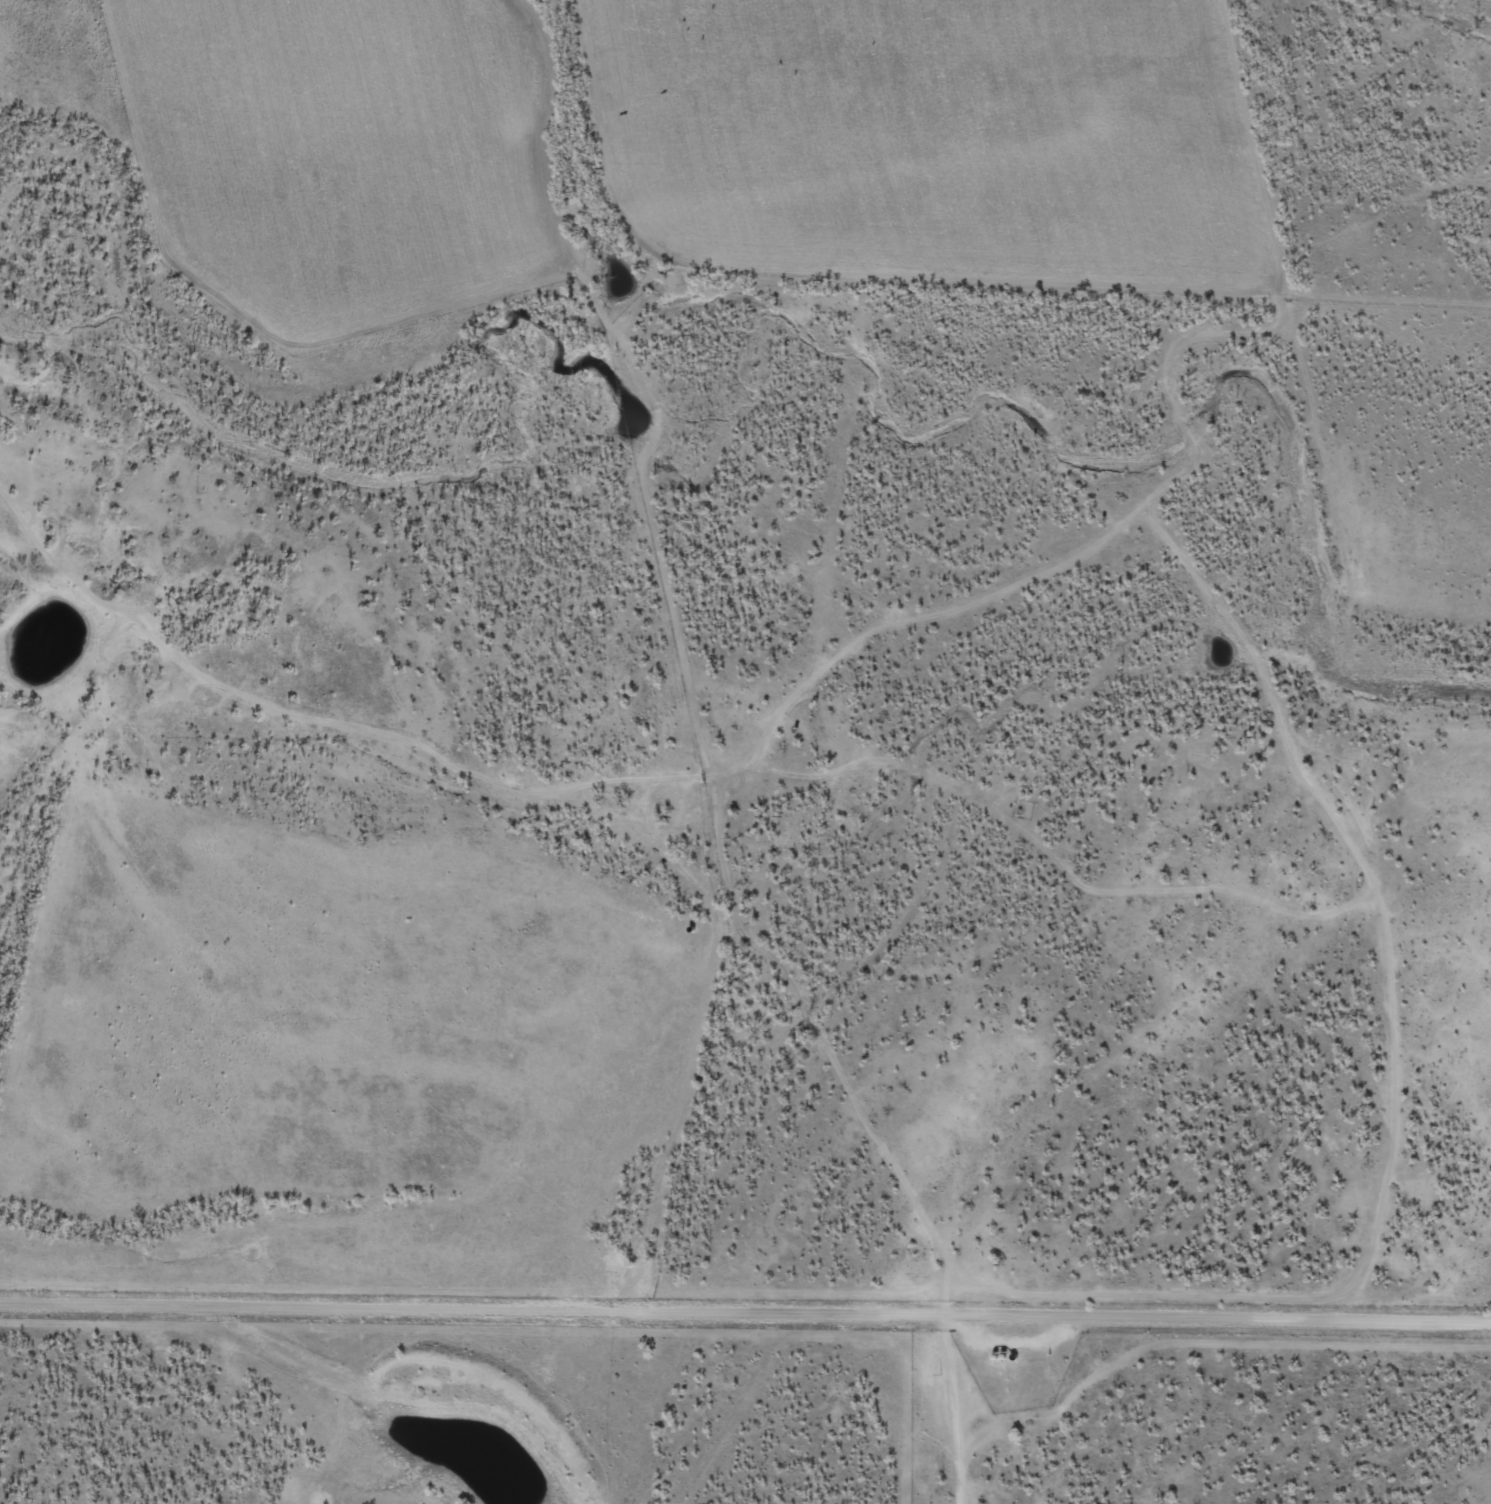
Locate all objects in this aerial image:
road: (745, 1319)
road: (949, 1412)

